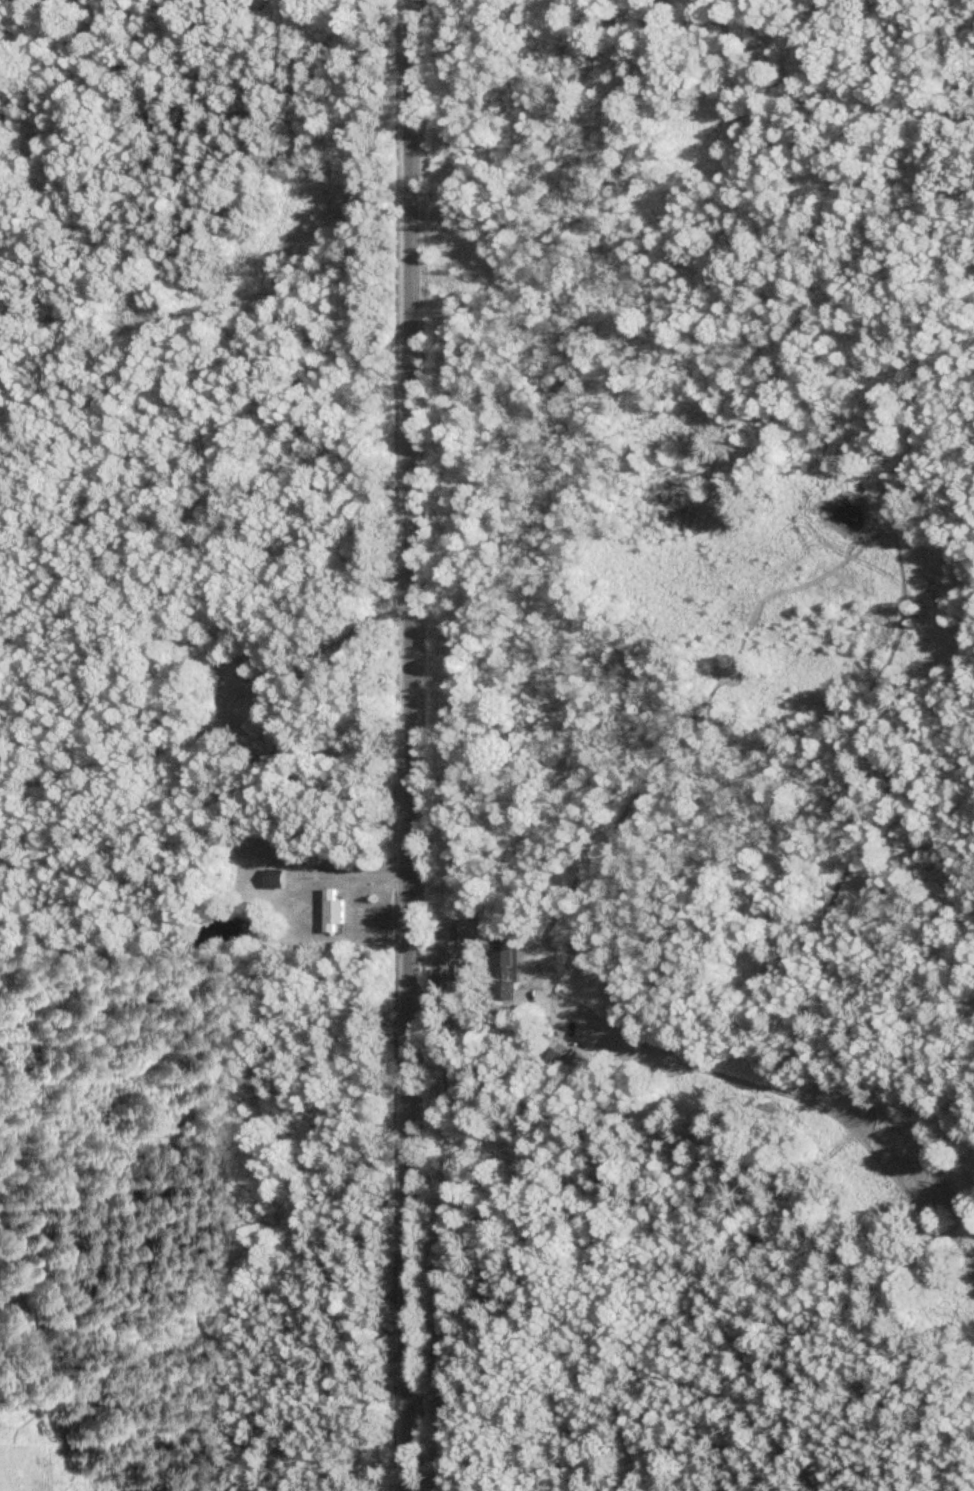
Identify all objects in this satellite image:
road: (413, 745)
building: (280, 877)
building: (339, 909)
building: (512, 968)
building: (554, 1054)

